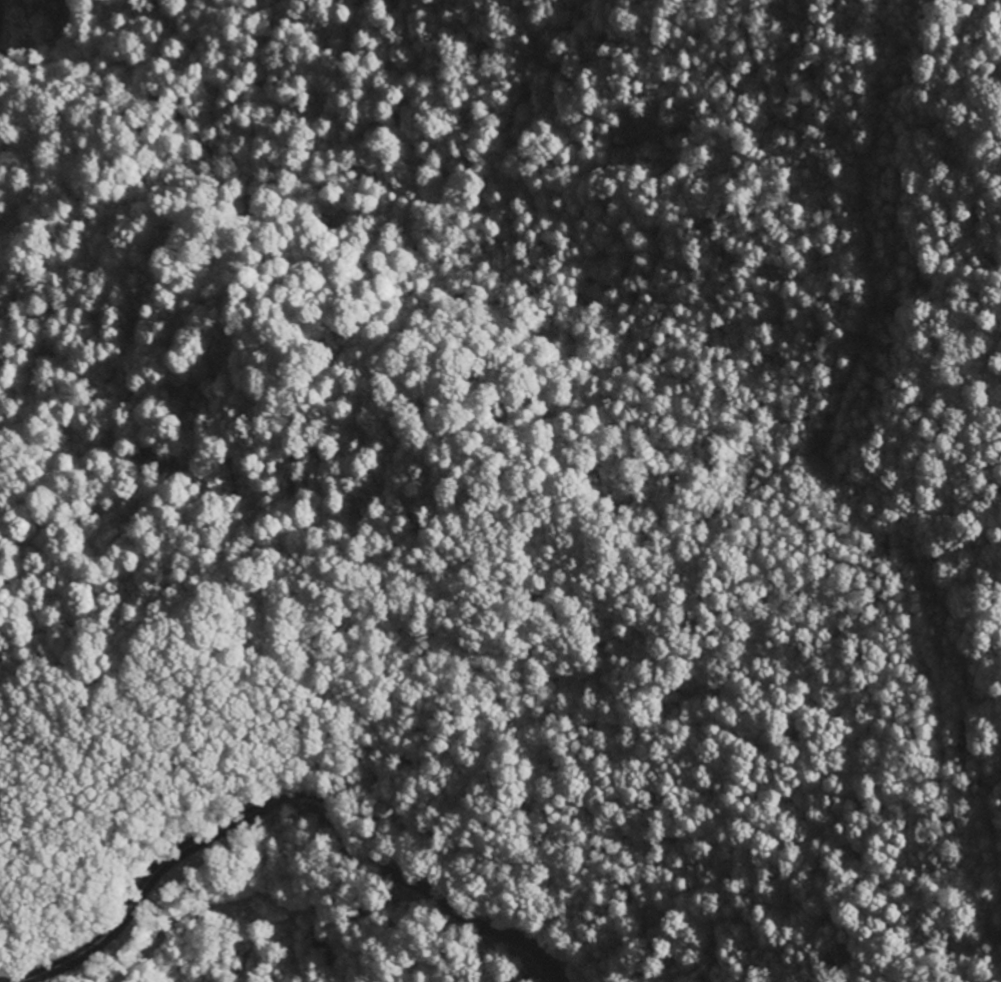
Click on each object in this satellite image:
road: (287, 797)

